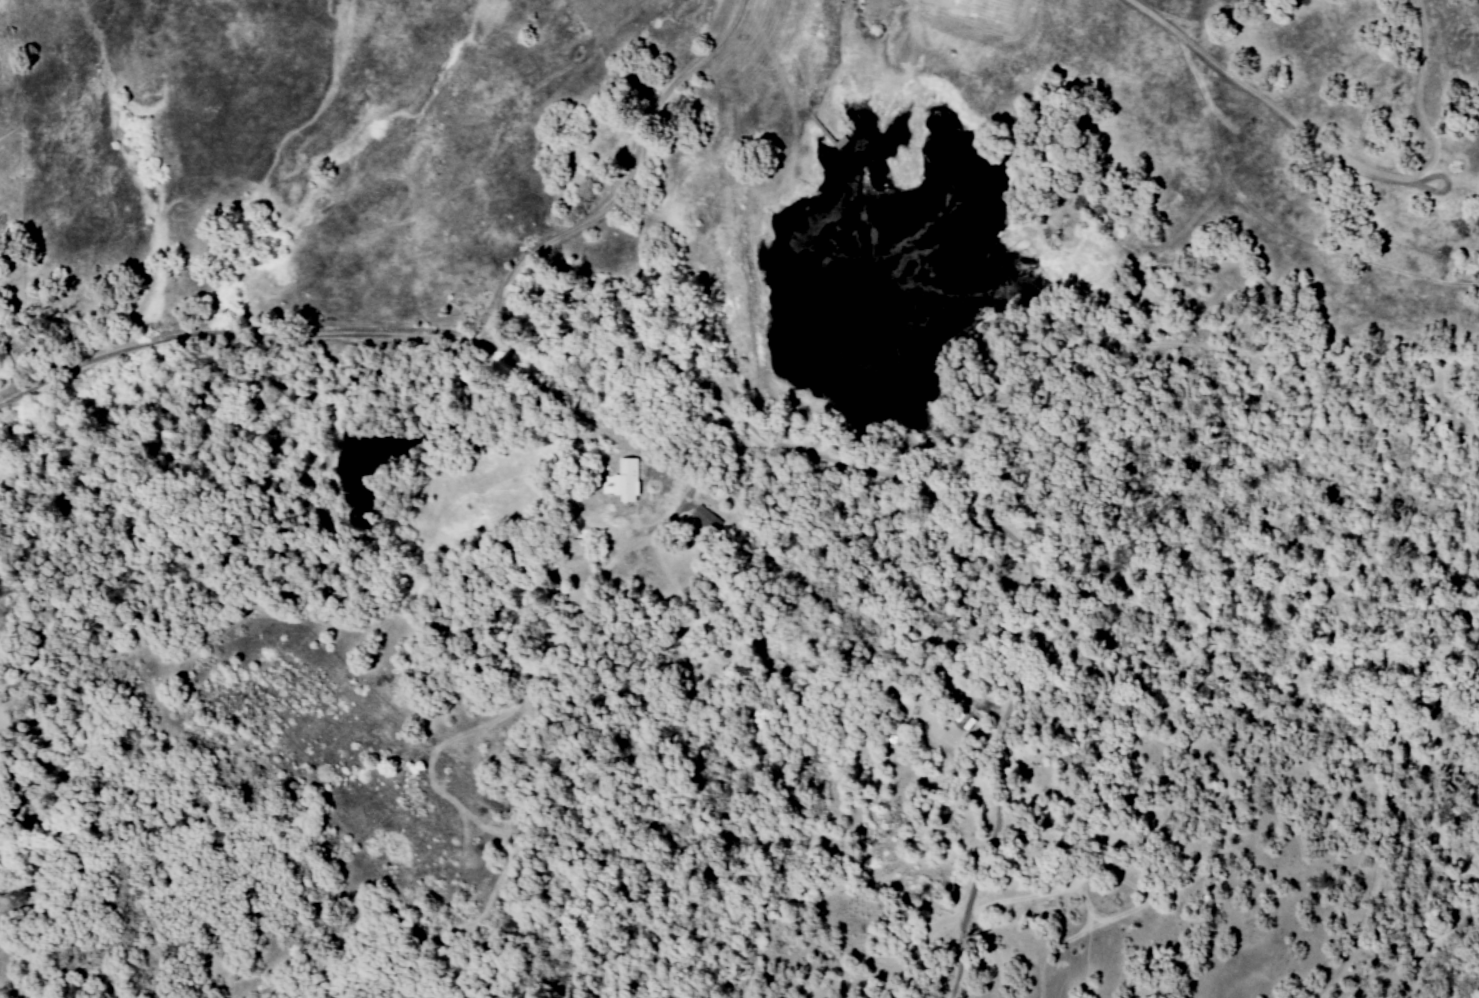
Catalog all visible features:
road: (454, 339)
building: (629, 480)
road: (693, 481)
road: (961, 506)
building: (705, 519)
road: (74, 960)

